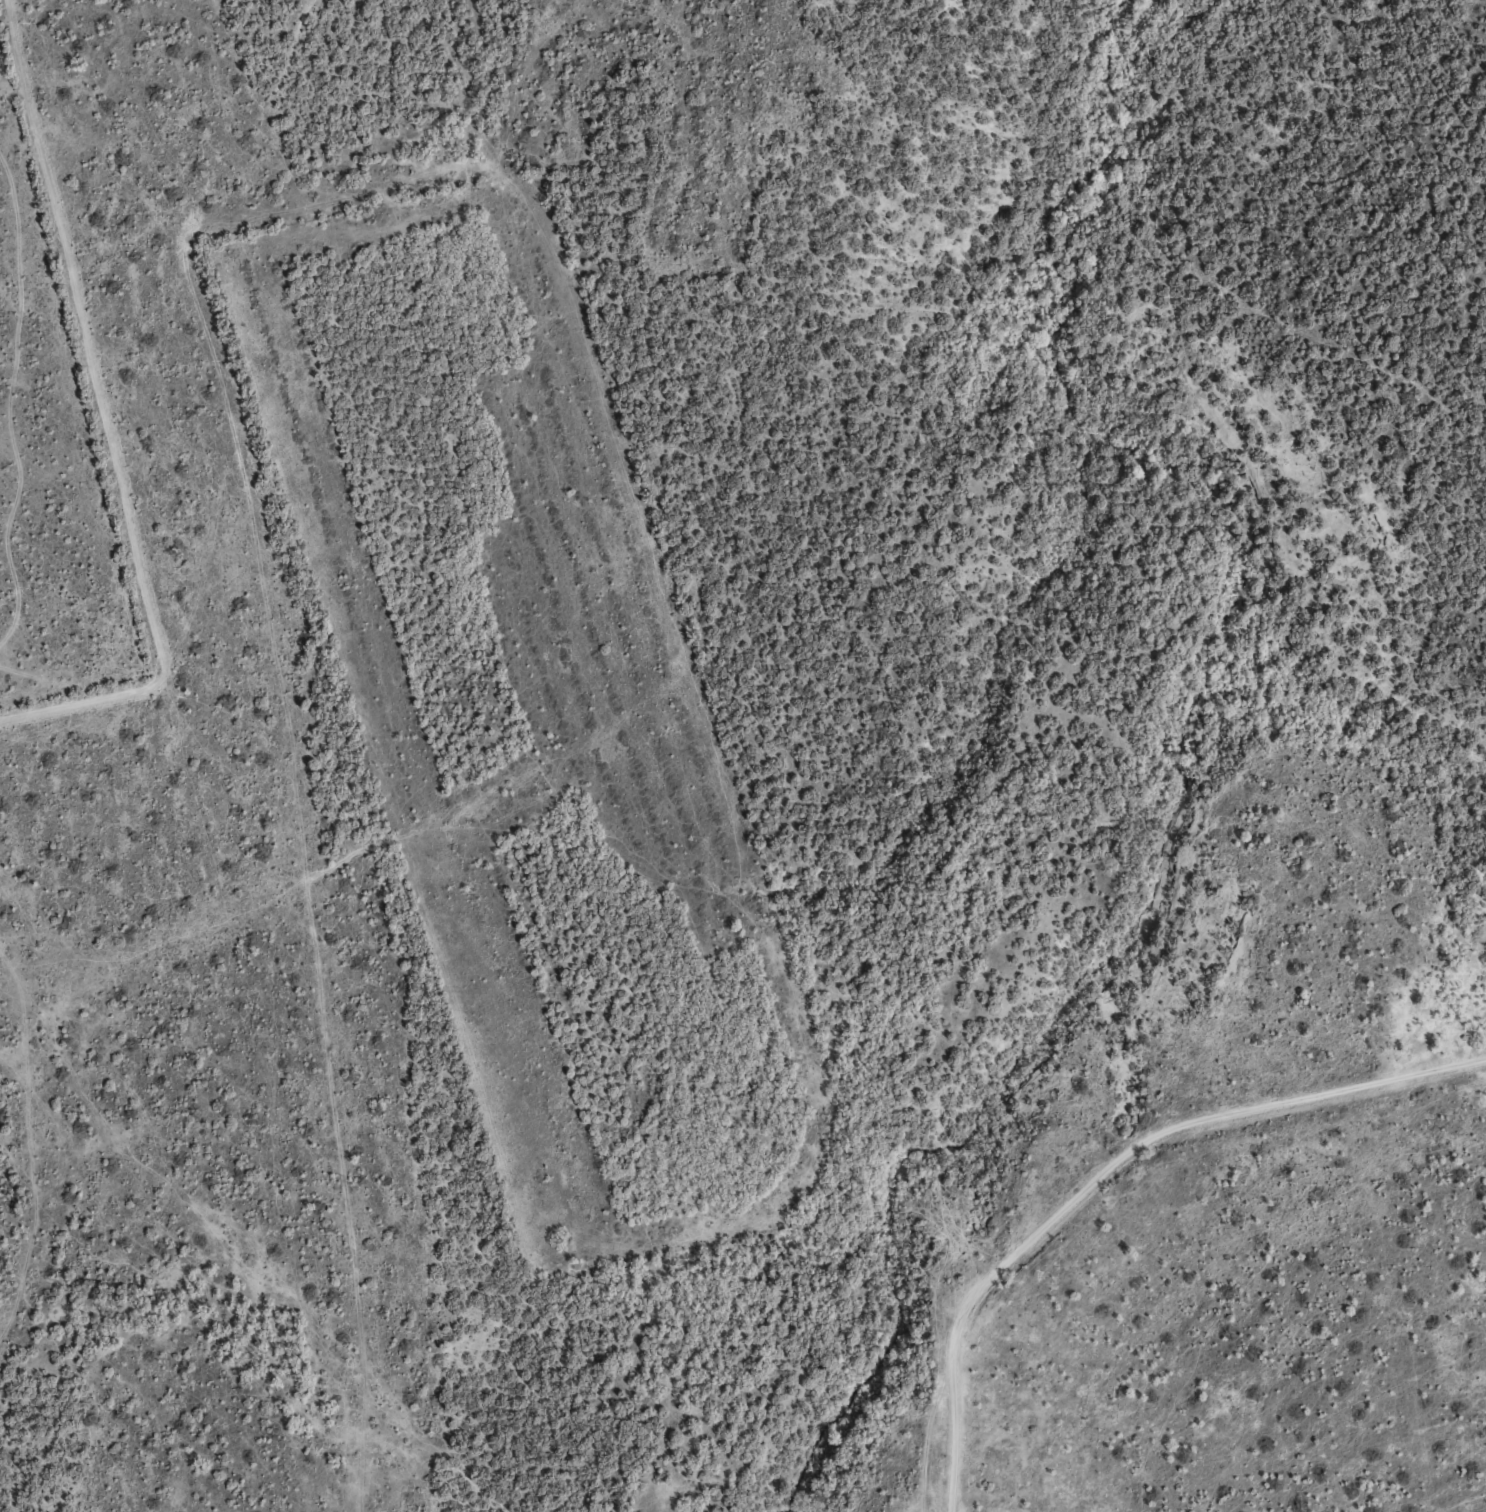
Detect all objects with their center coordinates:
road: (195, 596)
road: (1105, 1171)
road: (288, 1217)
road: (927, 1435)

